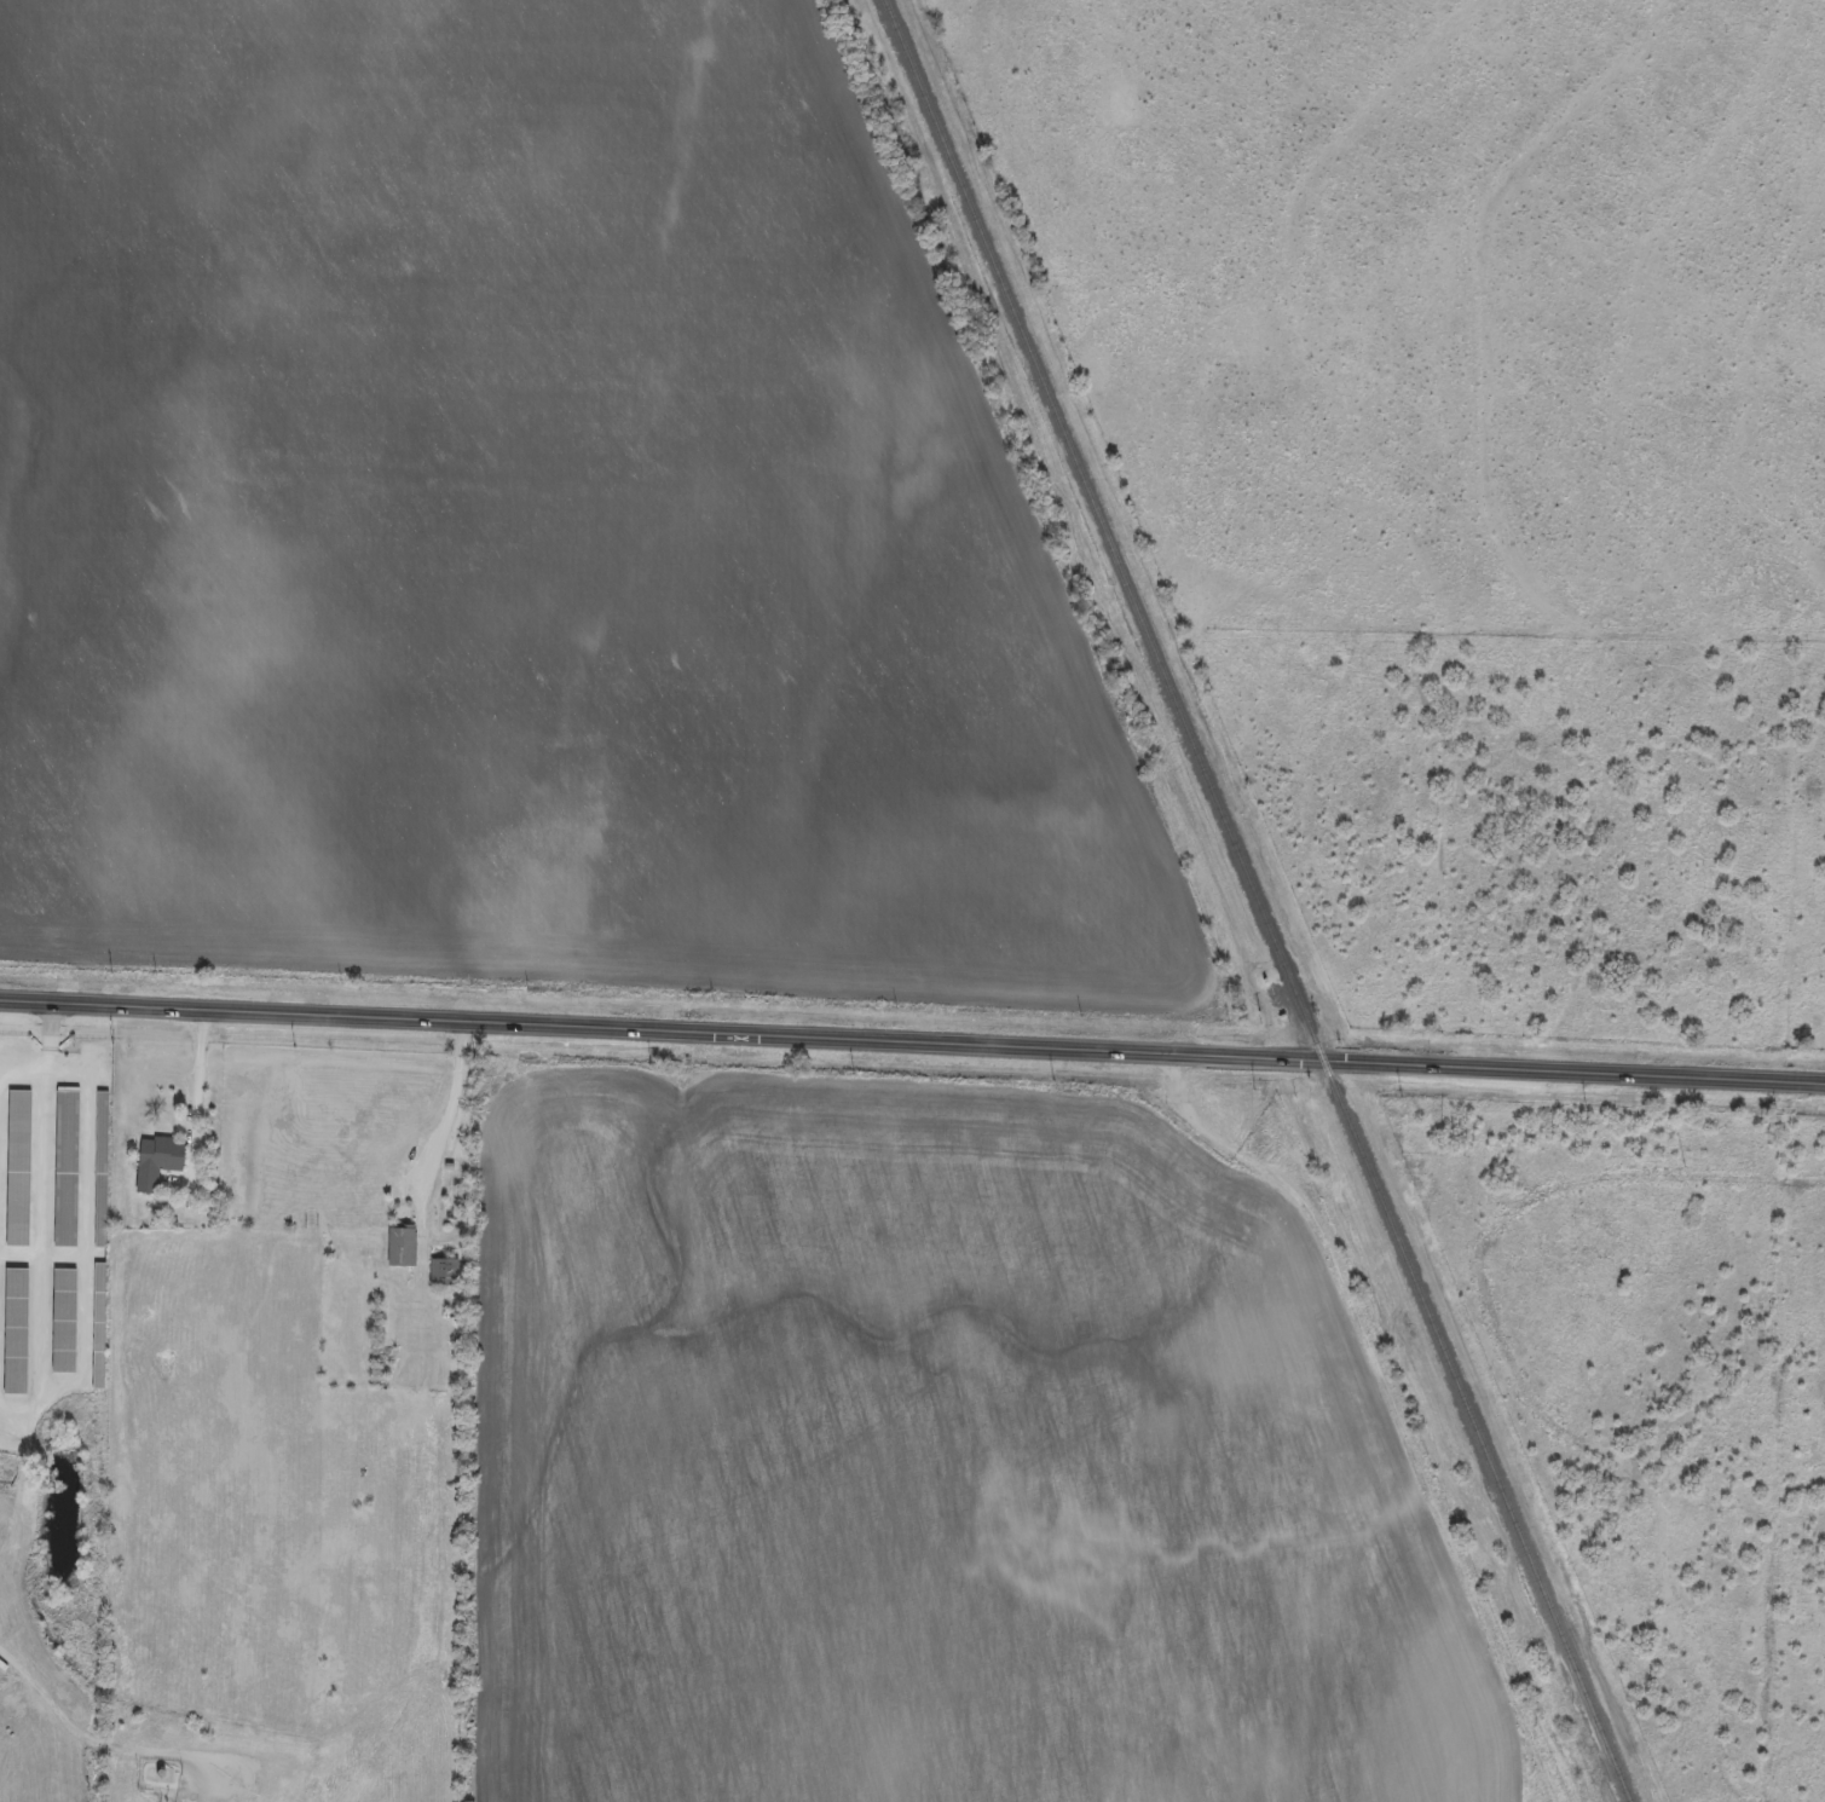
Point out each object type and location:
railway: (1255, 900)
road: (57, 1044)
road: (912, 1044)
road: (24, 1074)
road: (192, 1109)
road: (441, 1128)
building: (156, 1163)
building: (67, 1169)
building: (17, 1171)
building: (100, 1172)
building: (164, 1249)
building: (400, 1249)
road: (45, 1275)
building: (443, 1275)
building: (63, 1323)
building: (98, 1328)
building: (16, 1334)
road: (75, 1734)

